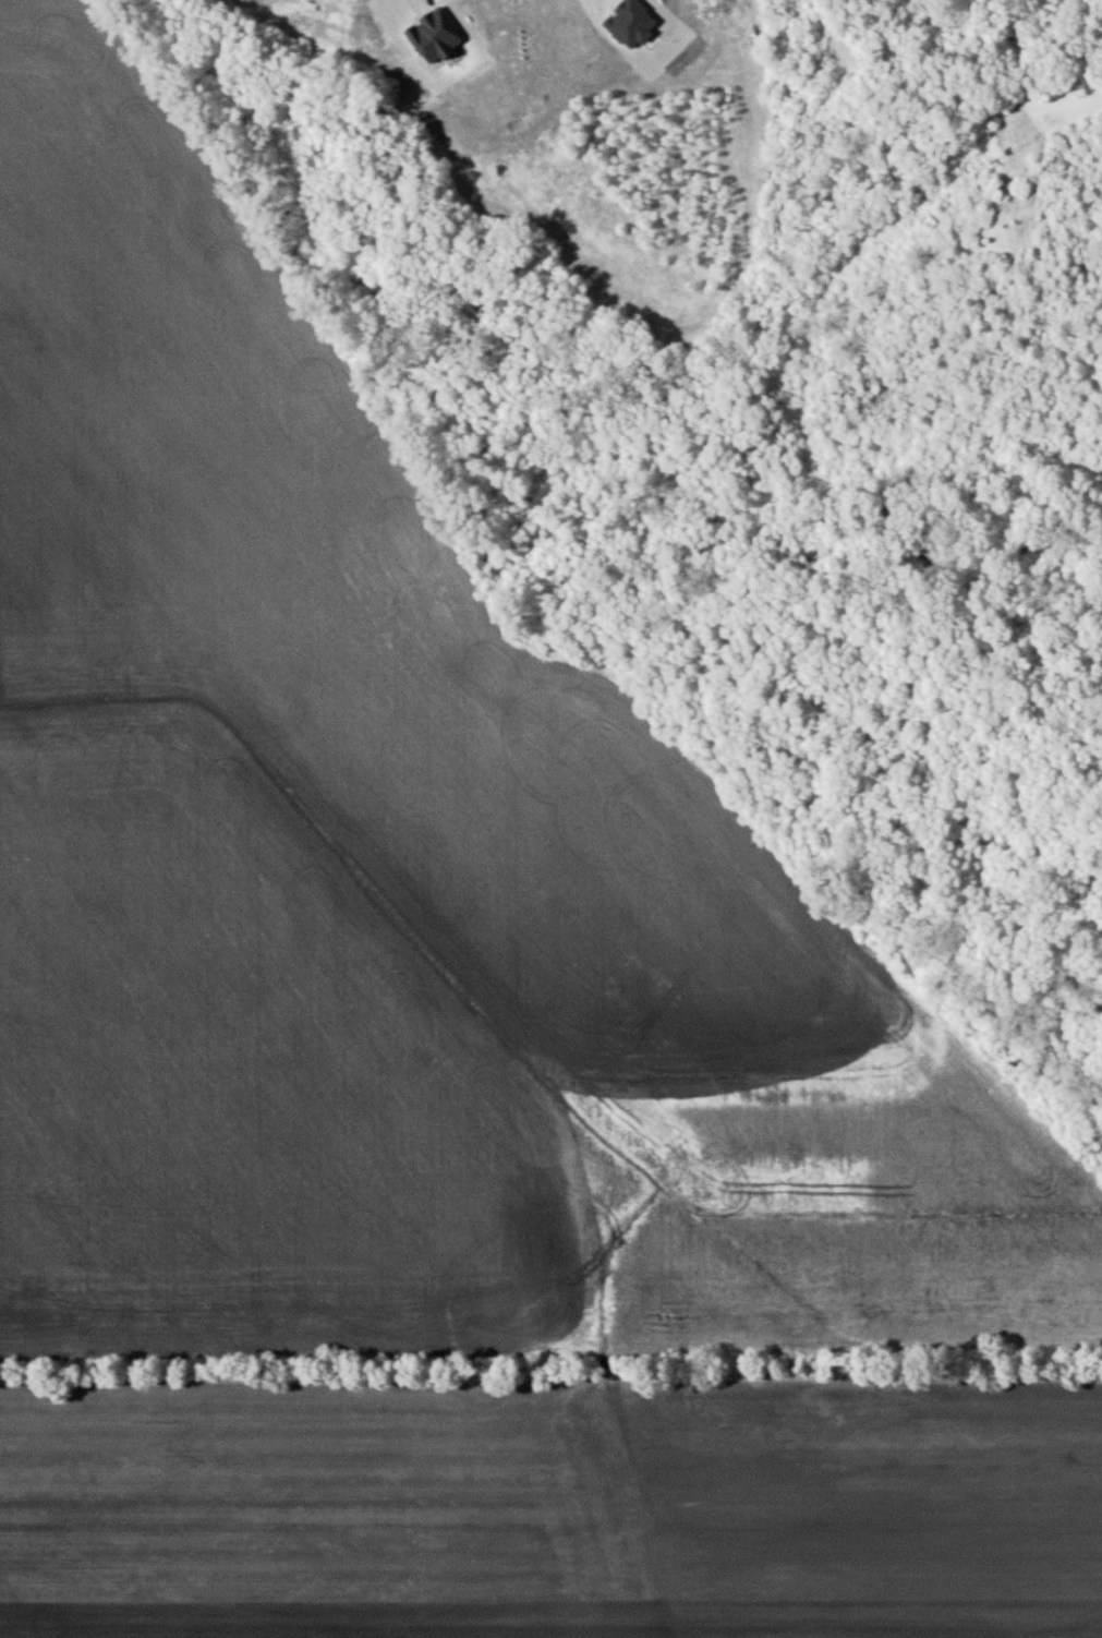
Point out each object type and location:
road: (421, 5)
road: (433, 5)
building: (625, 22)
building: (429, 35)

